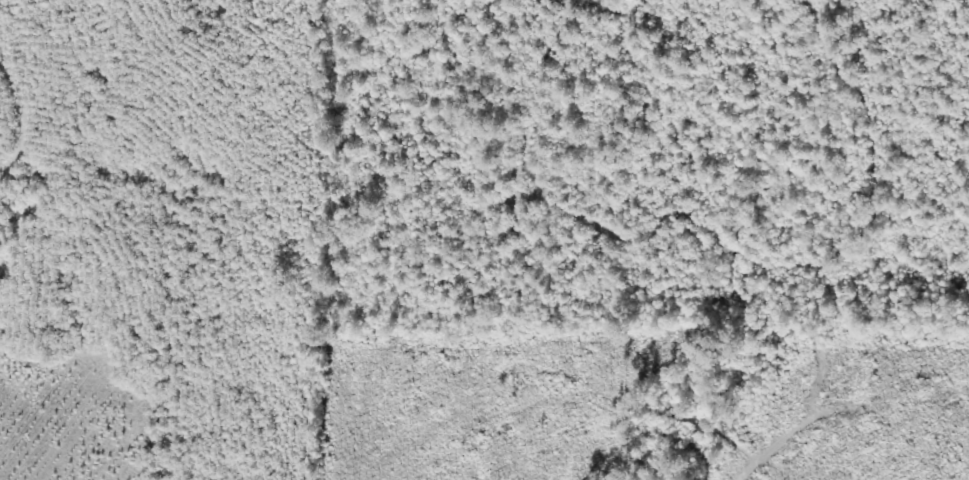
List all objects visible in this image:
road: (151, 219)
road: (837, 242)

